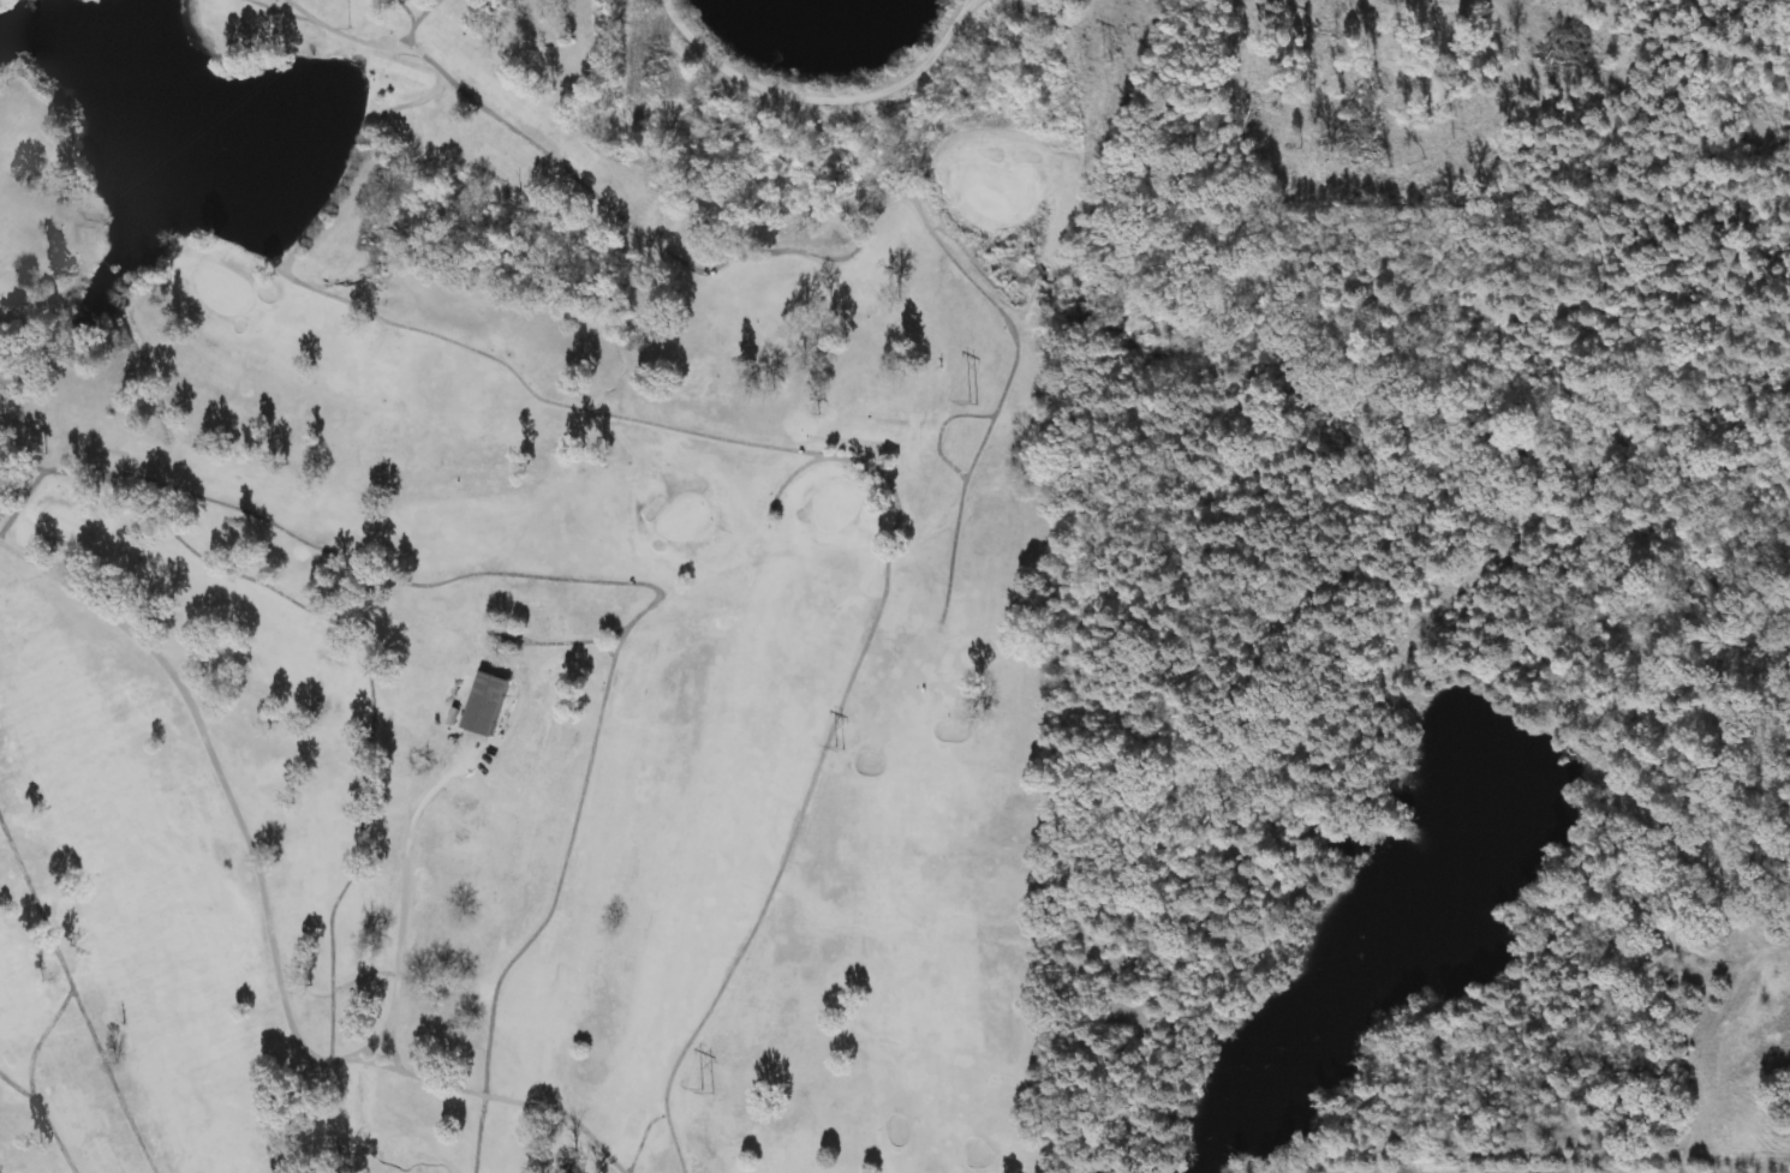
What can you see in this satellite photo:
road: (800, 98)
building: (489, 702)

